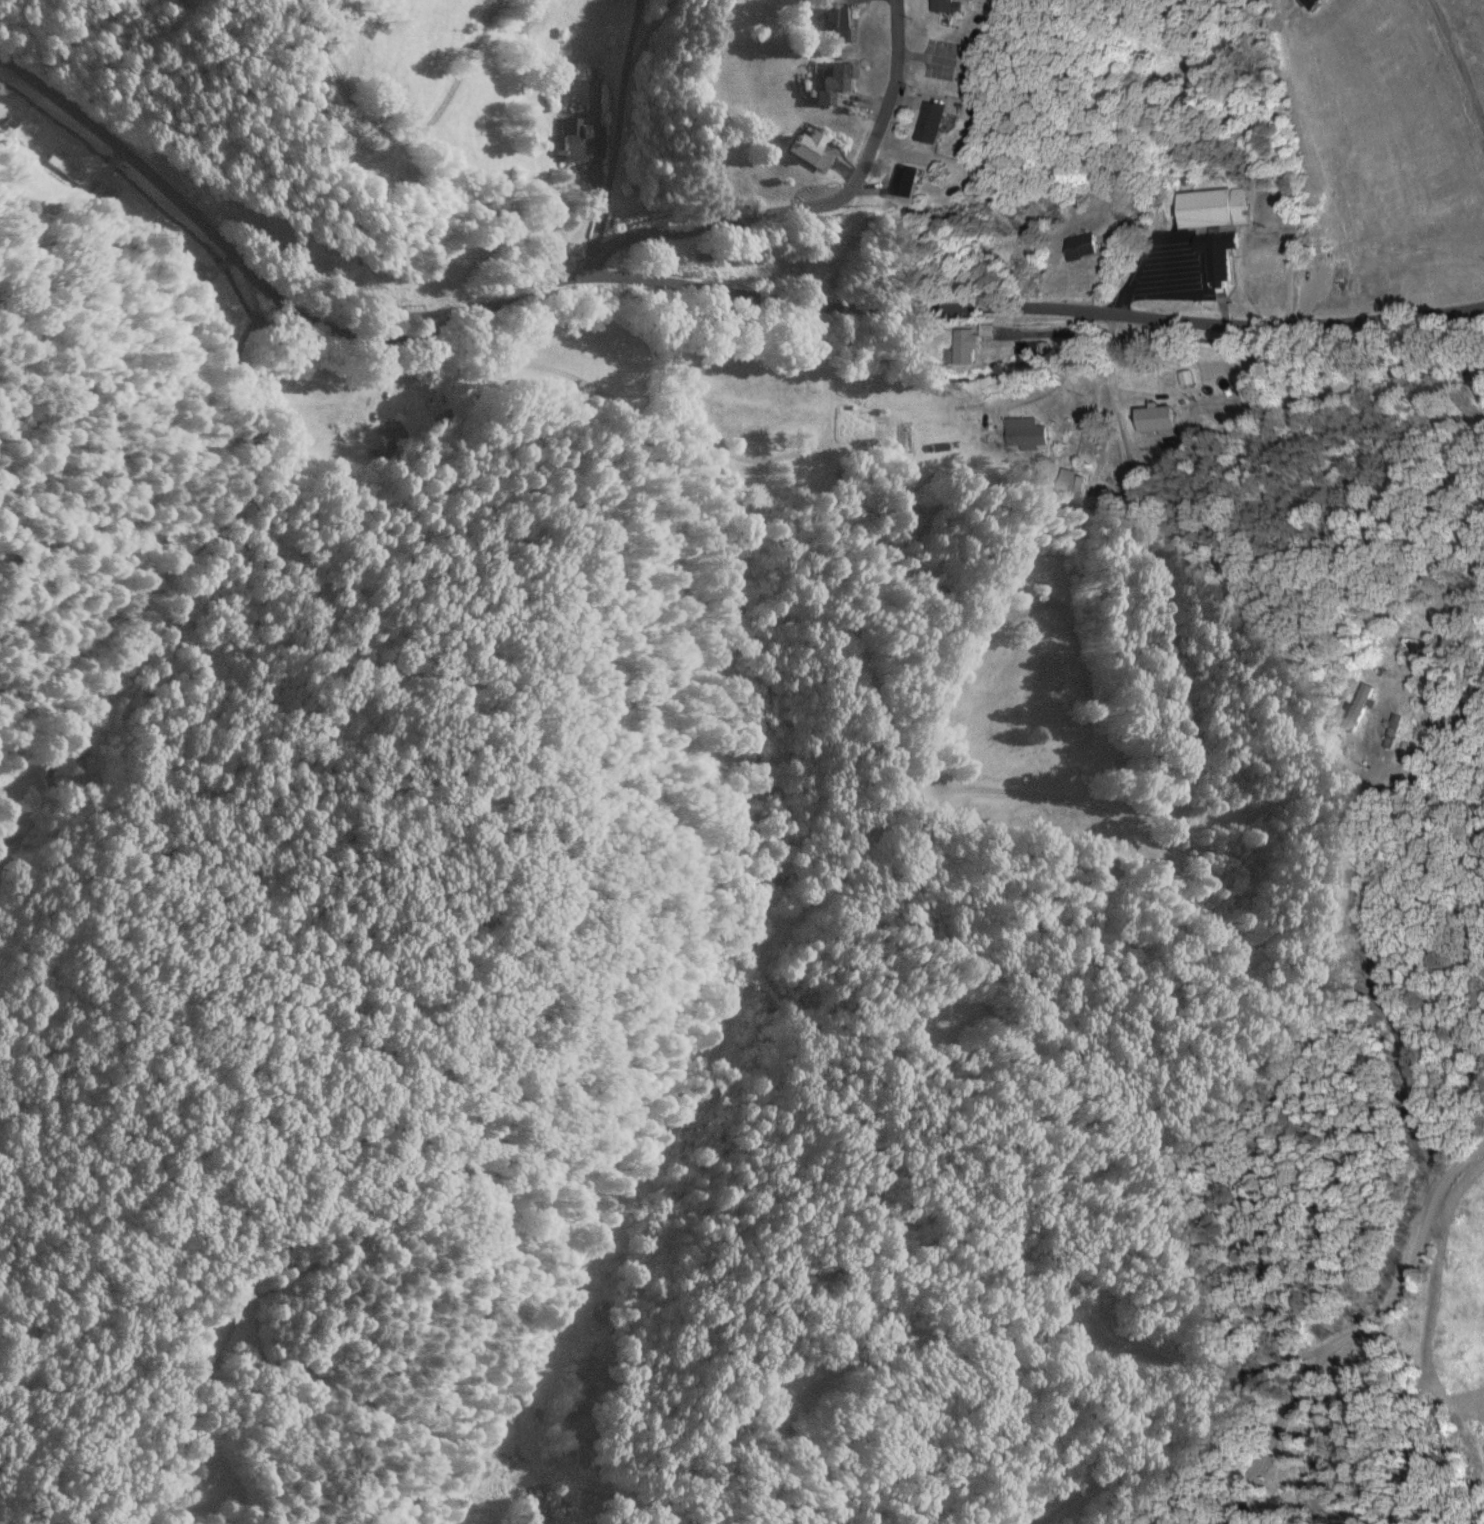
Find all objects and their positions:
building: (1312, 3)
building: (945, 5)
building: (841, 23)
building: (831, 80)
building: (929, 121)
building: (578, 139)
building: (810, 150)
building: (905, 180)
road: (808, 207)
building: (1213, 207)
building: (1080, 245)
building: (1217, 254)
road: (262, 283)
road: (1032, 301)
building: (963, 346)
building: (1029, 352)
building: (1155, 417)
building: (1025, 432)
building: (388, 435)
building: (1070, 481)
road: (1131, 493)
building: (1357, 706)
road: (1372, 1324)

